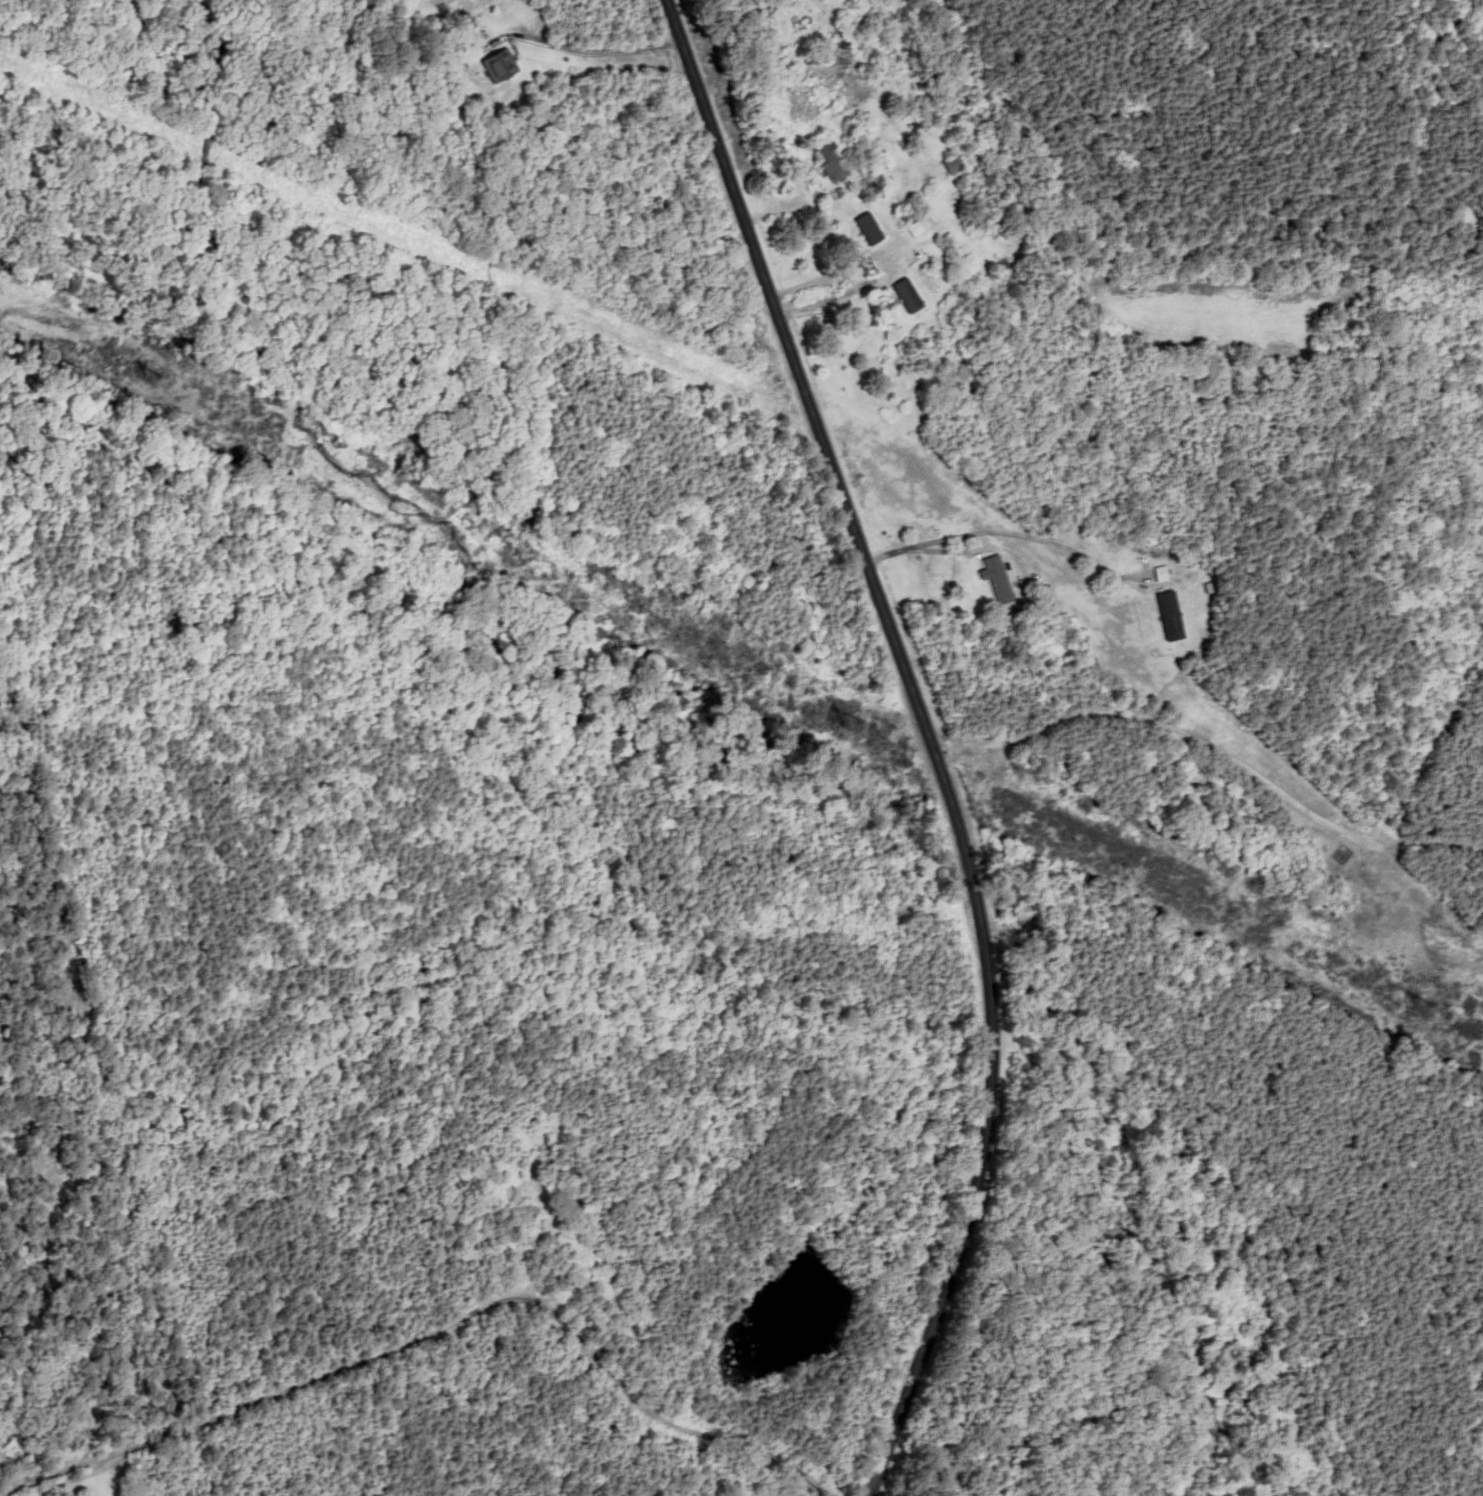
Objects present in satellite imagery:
building: (499, 65)
building: (831, 163)
building: (954, 165)
building: (869, 230)
building: (916, 230)
building: (907, 295)
power tower: (149, 377)
road: (1003, 532)
building: (1162, 575)
building: (997, 580)
building: (1171, 616)
power tower: (848, 723)
road: (929, 740)
power tower: (1423, 1007)
road: (456, 1330)

